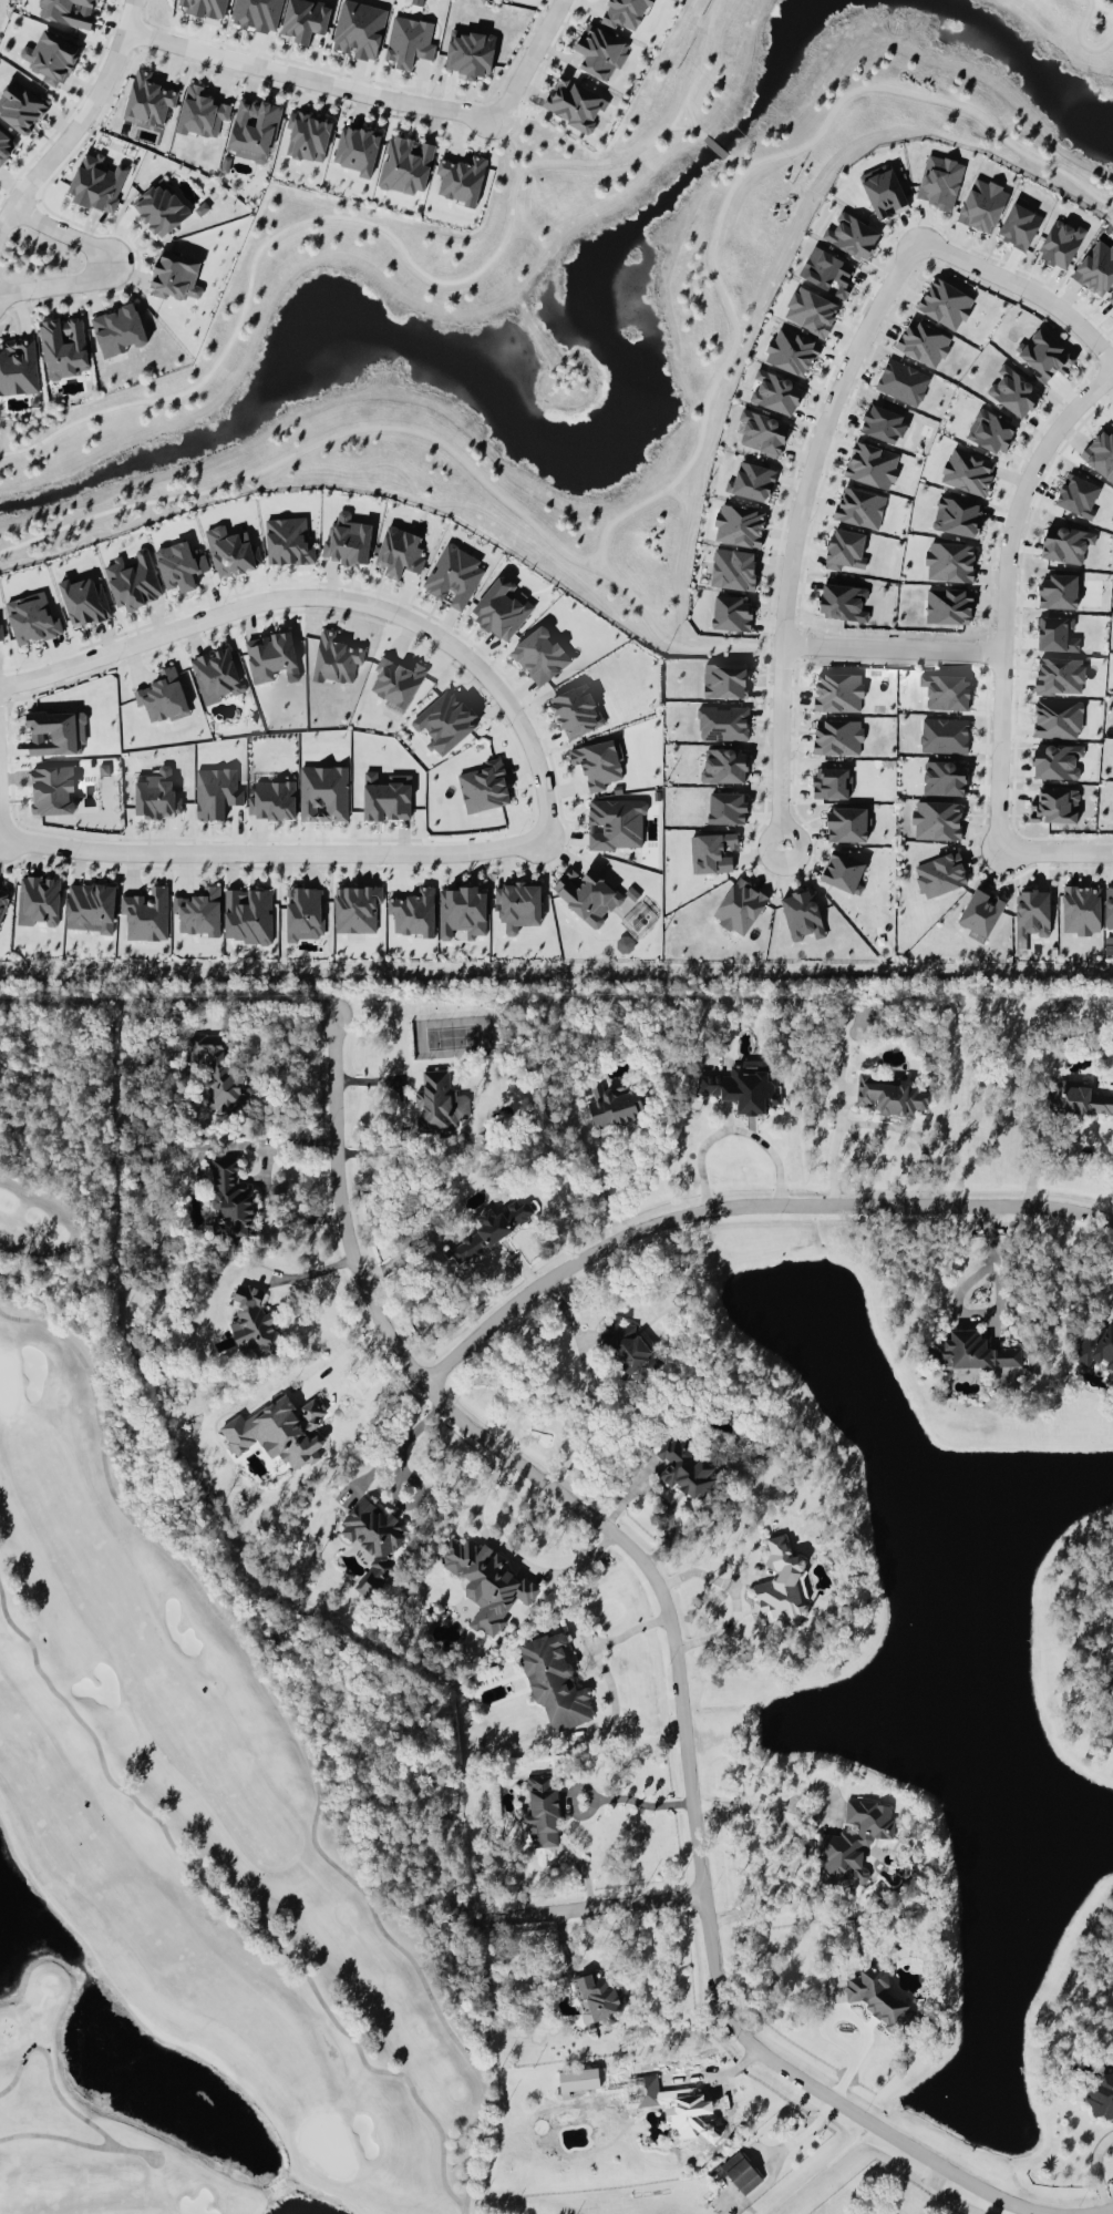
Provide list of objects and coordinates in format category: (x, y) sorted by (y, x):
building: (205, 7)
building: (69, 11)
building: (625, 12)
building: (257, 14)
building: (305, 19)
building: (359, 29)
road: (1082, 38)
building: (409, 41)
building: (600, 51)
building: (470, 52)
building: (51, 57)
road: (529, 59)
road: (307, 75)
building: (148, 100)
building: (574, 102)
building: (21, 106)
building: (202, 112)
road: (692, 119)
road: (80, 121)
building: (254, 125)
road: (680, 127)
building: (308, 135)
road: (714, 144)
building: (357, 148)
road: (738, 162)
building: (406, 164)
road: (734, 167)
building: (461, 178)
building: (940, 181)
building: (97, 183)
building: (884, 189)
building: (982, 204)
building: (161, 207)
building: (1019, 225)
building: (852, 234)
road: (394, 237)
building: (1061, 243)
road: (105, 264)
building: (1096, 267)
building: (827, 271)
building: (175, 276)
road: (1024, 287)
building: (1110, 300)
building: (946, 303)
building: (811, 310)
building: (118, 329)
building: (924, 342)
building: (63, 346)
building: (792, 351)
building: (1045, 355)
building: (18, 367)
building: (903, 381)
building: (1014, 390)
building: (776, 391)
building: (884, 423)
building: (991, 430)
building: (762, 431)
road: (821, 431)
building: (1101, 453)
building: (872, 464)
building: (968, 471)
building: (752, 481)
road: (670, 482)
building: (1078, 494)
building: (859, 506)
building: (957, 515)
building: (740, 524)
building: (347, 540)
building: (288, 541)
building: (1066, 543)
building: (846, 549)
building: (400, 551)
building: (229, 552)
building: (950, 561)
building: (181, 564)
road: (595, 564)
building: (733, 568)
building: (454, 575)
building: (134, 580)
building: (1059, 591)
road: (1003, 594)
road: (334, 596)
building: (82, 601)
building: (843, 601)
building: (949, 605)
building: (501, 608)
building: (732, 613)
building: (32, 617)
building: (1, 632)
building: (1055, 634)
road: (669, 639)
road: (892, 648)
building: (540, 655)
building: (272, 656)
building: (336, 657)
building: (216, 674)
building: (1060, 675)
building: (724, 679)
building: (396, 683)
building: (946, 690)
building: (838, 691)
building: (163, 696)
building: (576, 710)
building: (1058, 718)
building: (445, 720)
building: (723, 722)
building: (56, 731)
building: (945, 735)
building: (837, 736)
road: (779, 746)
building: (1057, 760)
building: (597, 762)
building: (724, 765)
building: (945, 777)
building: (831, 782)
building: (484, 786)
building: (52, 789)
building: (216, 791)
building: (323, 792)
building: (156, 793)
building: (387, 797)
building: (272, 799)
building: (1055, 804)
building: (726, 807)
building: (937, 819)
building: (617, 822)
building: (846, 823)
road: (0, 827)
building: (713, 851)
road: (1054, 851)
road: (275, 852)
building: (843, 870)
building: (940, 873)
building: (587, 894)
building: (3, 900)
building: (39, 900)
building: (518, 904)
building: (91, 905)
building: (741, 905)
building: (1109, 906)
building: (357, 908)
building: (1081, 909)
building: (199, 911)
building: (463, 911)
building: (305, 912)
building: (414, 912)
building: (1032, 912)
building: (147, 913)
building: (802, 913)
building: (981, 913)
building: (248, 914)
road: (270, 1022)
building: (218, 1067)
building: (744, 1087)
building: (890, 1095)
building: (1076, 1098)
building: (439, 1101)
building: (614, 1103)
road: (401, 1113)
road: (732, 1127)
road: (913, 1132)
road: (834, 1147)
road: (595, 1178)
road: (260, 1183)
building: (230, 1198)
road: (742, 1207)
building: (491, 1228)
road: (302, 1273)
road: (1103, 1278)
road: (958, 1295)
building: (254, 1323)
building: (628, 1347)
building: (1096, 1349)
building: (973, 1350)
road: (343, 1356)
road: (591, 1386)
building: (279, 1429)
road: (394, 1445)
building: (686, 1466)
building: (372, 1539)
road: (507, 1554)
road: (705, 1576)
building: (486, 1581)
building: (782, 1583)
road: (720, 1628)
road: (672, 1641)
road: (597, 1659)
building: (555, 1682)
park: (196, 1781)
road: (637, 1800)
building: (543, 1807)
building: (852, 1839)
road: (803, 1845)
road: (594, 1907)
building: (600, 1993)
building: (877, 1995)
building: (579, 2080)
building: (1100, 2092)
building: (671, 2104)
road: (801, 2133)
building: (741, 2172)
road: (1103, 2212)
road: (1101, 2213)

